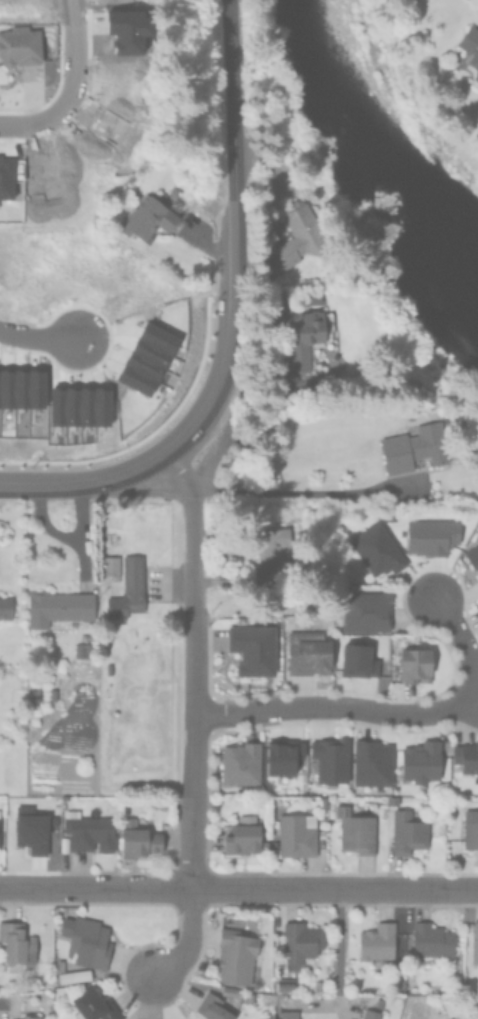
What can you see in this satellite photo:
building: (466, 36)
building: (18, 44)
building: (474, 62)
road: (63, 101)
river: (369, 141)
road: (236, 214)
building: (144, 218)
building: (265, 229)
building: (298, 233)
road: (42, 337)
building: (305, 338)
building: (143, 358)
building: (411, 447)
road: (109, 480)
road: (291, 492)
building: (430, 536)
road: (191, 538)
road: (74, 545)
building: (270, 547)
building: (376, 550)
building: (471, 554)
building: (106, 568)
building: (477, 571)
building: (477, 577)
building: (125, 587)
building: (476, 603)
building: (54, 605)
building: (5, 608)
building: (364, 609)
building: (249, 647)
building: (76, 648)
building: (85, 648)
building: (307, 652)
building: (354, 657)
building: (413, 662)
building: (50, 693)
road: (472, 699)
road: (386, 715)
building: (278, 755)
building: (465, 755)
building: (327, 758)
road: (192, 760)
building: (237, 761)
building: (369, 761)
building: (419, 761)
building: (391, 798)
building: (0, 827)
building: (469, 827)
building: (353, 829)
building: (86, 830)
building: (405, 830)
building: (30, 832)
building: (294, 833)
building: (237, 837)
building: (136, 838)
road: (238, 889)
road: (185, 938)
building: (429, 939)
building: (87, 940)
building: (474, 940)
building: (297, 942)
building: (374, 942)
building: (14, 943)
road: (345, 950)
building: (235, 954)
building: (58, 970)
building: (75, 975)
building: (282, 983)
building: (315, 984)
building: (245, 996)
building: (89, 1005)
building: (212, 1007)
building: (370, 1010)
building: (284, 1014)
building: (25, 1016)
building: (446, 1018)

